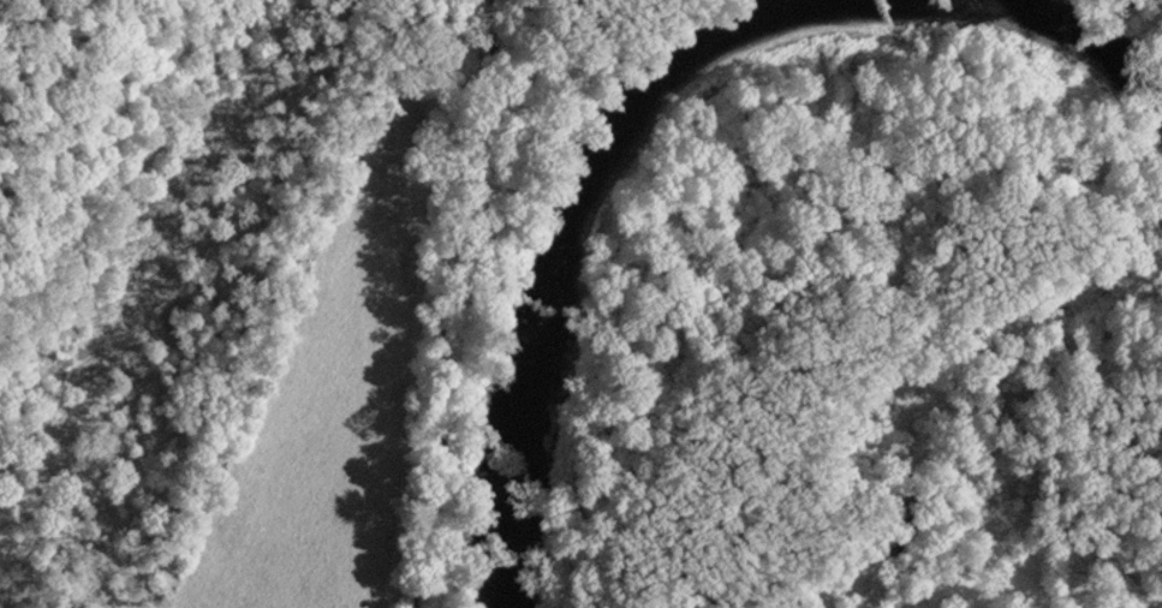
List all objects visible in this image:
river: (651, 90)

